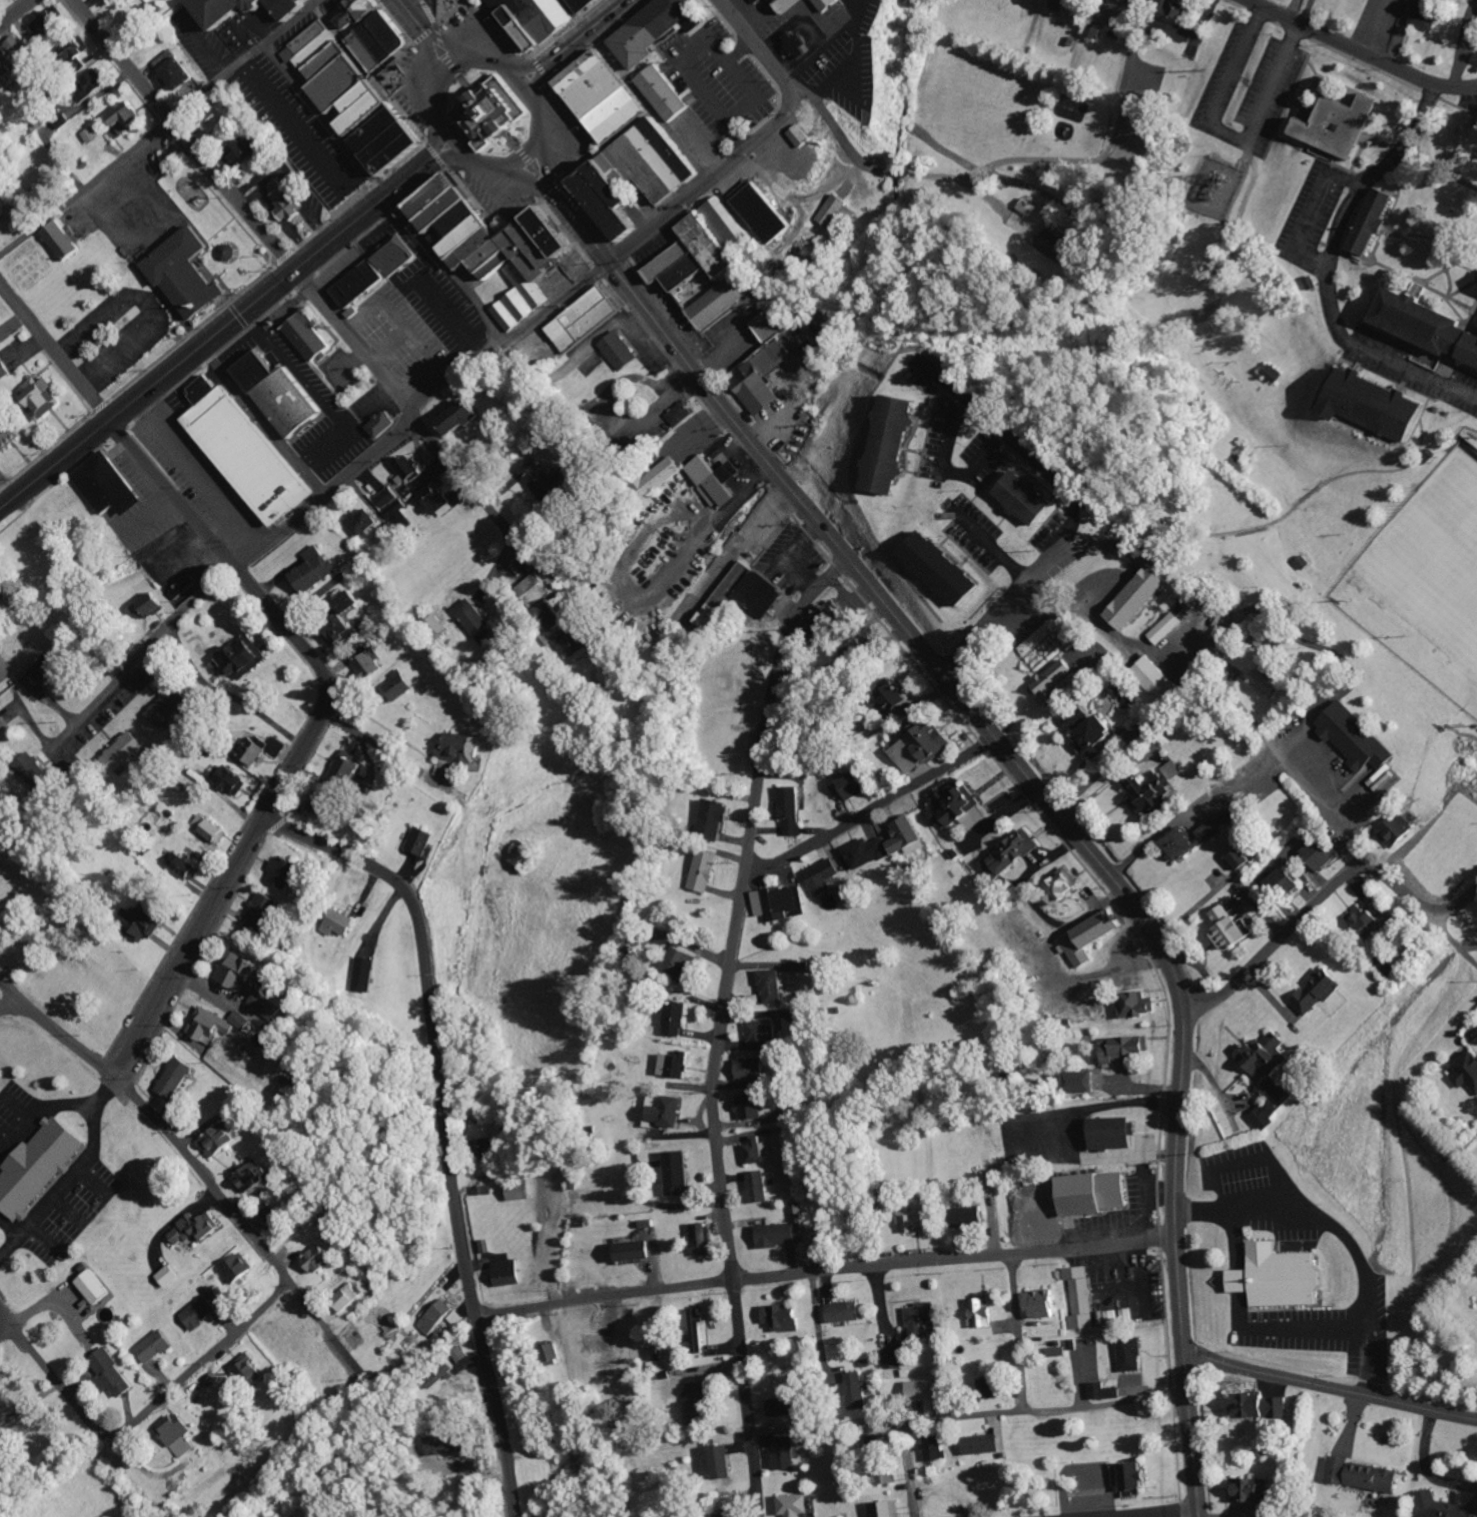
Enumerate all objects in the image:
building: (111, 0)
building: (759, 1)
building: (1132, 1)
building: (585, 4)
building: (790, 4)
building: (774, 5)
building: (827, 5)
building: (294, 7)
building: (229, 9)
road: (15, 12)
building: (1427, 17)
building: (540, 18)
building: (1182, 20)
road: (415, 22)
building: (49, 24)
road: (589, 26)
building: (651, 29)
building: (1095, 29)
building: (378, 32)
building: (307, 40)
building: (799, 44)
building: (80, 48)
road: (1359, 52)
road: (453, 55)
building: (12, 58)
road: (440, 64)
road: (531, 65)
building: (178, 69)
road: (543, 76)
road: (452, 77)
building: (95, 82)
road: (520, 83)
building: (664, 93)
building: (607, 94)
building: (367, 106)
building: (486, 112)
road: (537, 112)
building: (129, 117)
building: (1339, 124)
road: (161, 129)
road: (1228, 133)
building: (92, 135)
building: (802, 136)
road: (185, 141)
road: (459, 144)
road: (440, 146)
road: (756, 147)
building: (248, 150)
road: (528, 153)
road: (544, 153)
road: (454, 163)
road: (486, 163)
road: (523, 176)
building: (606, 178)
road: (386, 195)
building: (288, 204)
building: (1030, 206)
building: (766, 210)
building: (834, 211)
road: (1311, 211)
road: (647, 218)
building: (1374, 220)
building: (1, 222)
building: (64, 240)
building: (1053, 244)
building: (502, 245)
building: (705, 247)
building: (231, 251)
building: (398, 257)
road: (1329, 268)
building: (191, 273)
building: (361, 285)
building: (725, 298)
building: (588, 318)
building: (1428, 323)
building: (772, 325)
building: (312, 336)
building: (1, 339)
road: (217, 343)
road: (202, 346)
building: (621, 351)
road: (58, 353)
building: (4, 369)
building: (1275, 373)
building: (763, 378)
building: (284, 394)
building: (44, 395)
building: (1378, 404)
building: (1, 410)
building: (683, 414)
road: (412, 416)
building: (467, 416)
building: (383, 424)
building: (10, 435)
building: (894, 446)
building: (249, 450)
building: (412, 467)
building: (669, 471)
building: (542, 480)
building: (715, 480)
building: (110, 484)
road: (329, 495)
building: (389, 496)
building: (1031, 498)
building: (438, 500)
building: (399, 512)
building: (364, 522)
building: (944, 569)
building: (316, 570)
road: (1025, 585)
building: (538, 587)
building: (743, 595)
building: (0, 596)
building: (1144, 597)
building: (352, 600)
building: (154, 604)
building: (553, 615)
building: (827, 616)
building: (480, 623)
building: (1168, 629)
building: (346, 631)
building: (577, 644)
building: (245, 658)
building: (370, 664)
building: (48, 667)
building: (1156, 682)
building: (405, 683)
building: (1055, 683)
building: (1266, 683)
building: (895, 698)
building: (170, 706)
building: (3, 722)
building: (1093, 732)
road: (312, 737)
building: (1360, 738)
building: (924, 747)
building: (264, 748)
building: (460, 748)
building: (124, 752)
building: (349, 766)
building: (1175, 770)
building: (234, 779)
building: (852, 785)
road: (1034, 789)
building: (1151, 793)
building: (954, 803)
building: (325, 804)
road: (1323, 807)
building: (792, 809)
road: (868, 811)
building: (1234, 817)
building: (714, 820)
building: (209, 829)
building: (1400, 830)
building: (1213, 832)
building: (909, 836)
building: (424, 841)
building: (1184, 845)
building: (867, 852)
building: (1327, 852)
building: (526, 854)
building: (1014, 855)
building: (1245, 859)
building: (186, 866)
building: (706, 871)
building: (286, 873)
building: (823, 876)
building: (1288, 880)
building: (1063, 888)
road: (1322, 898)
building: (780, 903)
building: (265, 913)
building: (1365, 918)
building: (146, 921)
building: (343, 923)
building: (1234, 927)
building: (1090, 938)
road: (1453, 938)
building: (682, 964)
building: (803, 967)
building: (367, 972)
building: (251, 983)
building: (774, 987)
building: (1320, 991)
road: (9, 1005)
building: (1138, 1005)
building: (678, 1018)
building: (243, 1020)
building: (212, 1026)
road: (719, 1026)
building: (763, 1035)
building: (1124, 1049)
building: (1269, 1056)
building: (676, 1064)
building: (750, 1069)
building: (1467, 1071)
building: (178, 1078)
building: (1085, 1082)
building: (163, 1104)
building: (751, 1107)
building: (670, 1112)
building: (1267, 1115)
road: (446, 1125)
building: (1117, 1133)
building: (222, 1140)
building: (487, 1147)
building: (758, 1150)
building: (39, 1167)
building: (678, 1173)
road: (202, 1174)
building: (257, 1177)
building: (758, 1187)
building: (1098, 1194)
building: (969, 1217)
building: (916, 1221)
building: (197, 1229)
building: (784, 1235)
building: (704, 1241)
building: (637, 1251)
building: (322, 1259)
building: (241, 1270)
road: (825, 1271)
building: (508, 1273)
building: (170, 1276)
building: (1284, 1278)
building: (96, 1288)
building: (350, 1296)
building: (1081, 1297)
building: (1046, 1304)
building: (846, 1312)
building: (202, 1313)
building: (984, 1314)
building: (441, 1317)
building: (783, 1317)
building: (1110, 1317)
building: (924, 1319)
building: (698, 1331)
road: (6, 1333)
road: (1018, 1333)
building: (155, 1346)
building: (1058, 1349)
building: (553, 1354)
building: (459, 1355)
building: (1132, 1355)
building: (893, 1359)
building: (657, 1360)
building: (251, 1370)
building: (449, 1371)
building: (114, 1374)
building: (993, 1388)
road: (1330, 1388)
building: (929, 1389)
building: (857, 1392)
building: (1106, 1392)
building: (697, 1404)
building: (8, 1407)
building: (783, 1407)
building: (1261, 1407)
road: (1002, 1414)
road: (138, 1418)
building: (179, 1435)
building: (450, 1445)
building: (985, 1445)
building: (936, 1448)
building: (785, 1454)
building: (723, 1462)
building: (885, 1475)
building: (1366, 1476)
building: (1135, 1478)
building: (1253, 1491)
building: (795, 1506)
building: (1444, 1507)
building: (887, 1509)
road: (1140, 1512)
building: (728, 1515)

